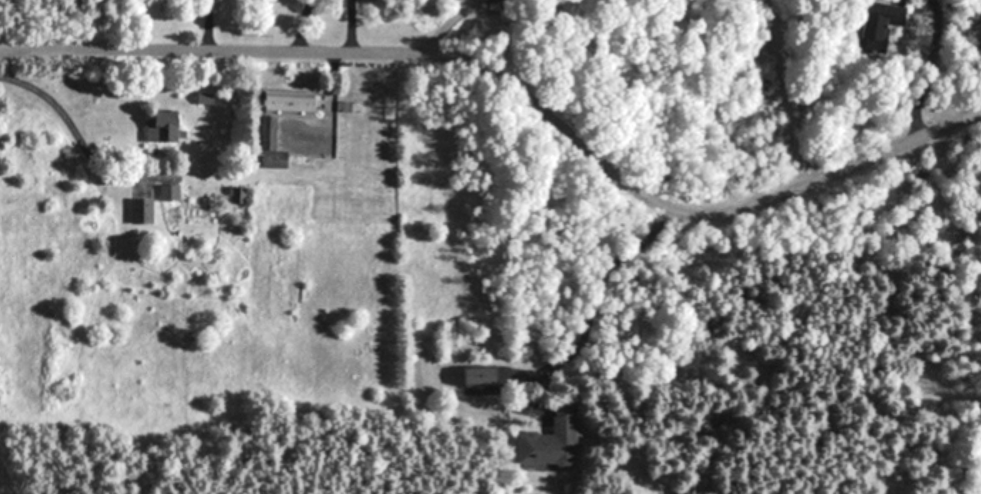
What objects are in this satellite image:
building: (485, 1)
building: (876, 23)
road: (207, 24)
road: (301, 25)
road: (349, 26)
road: (444, 28)
road: (515, 92)
road: (916, 95)
building: (280, 104)
building: (156, 127)
road: (75, 134)
building: (266, 135)
building: (267, 161)
building: (166, 193)
building: (138, 212)
road: (596, 294)
building: (472, 378)
building: (548, 441)
road: (6, 481)

